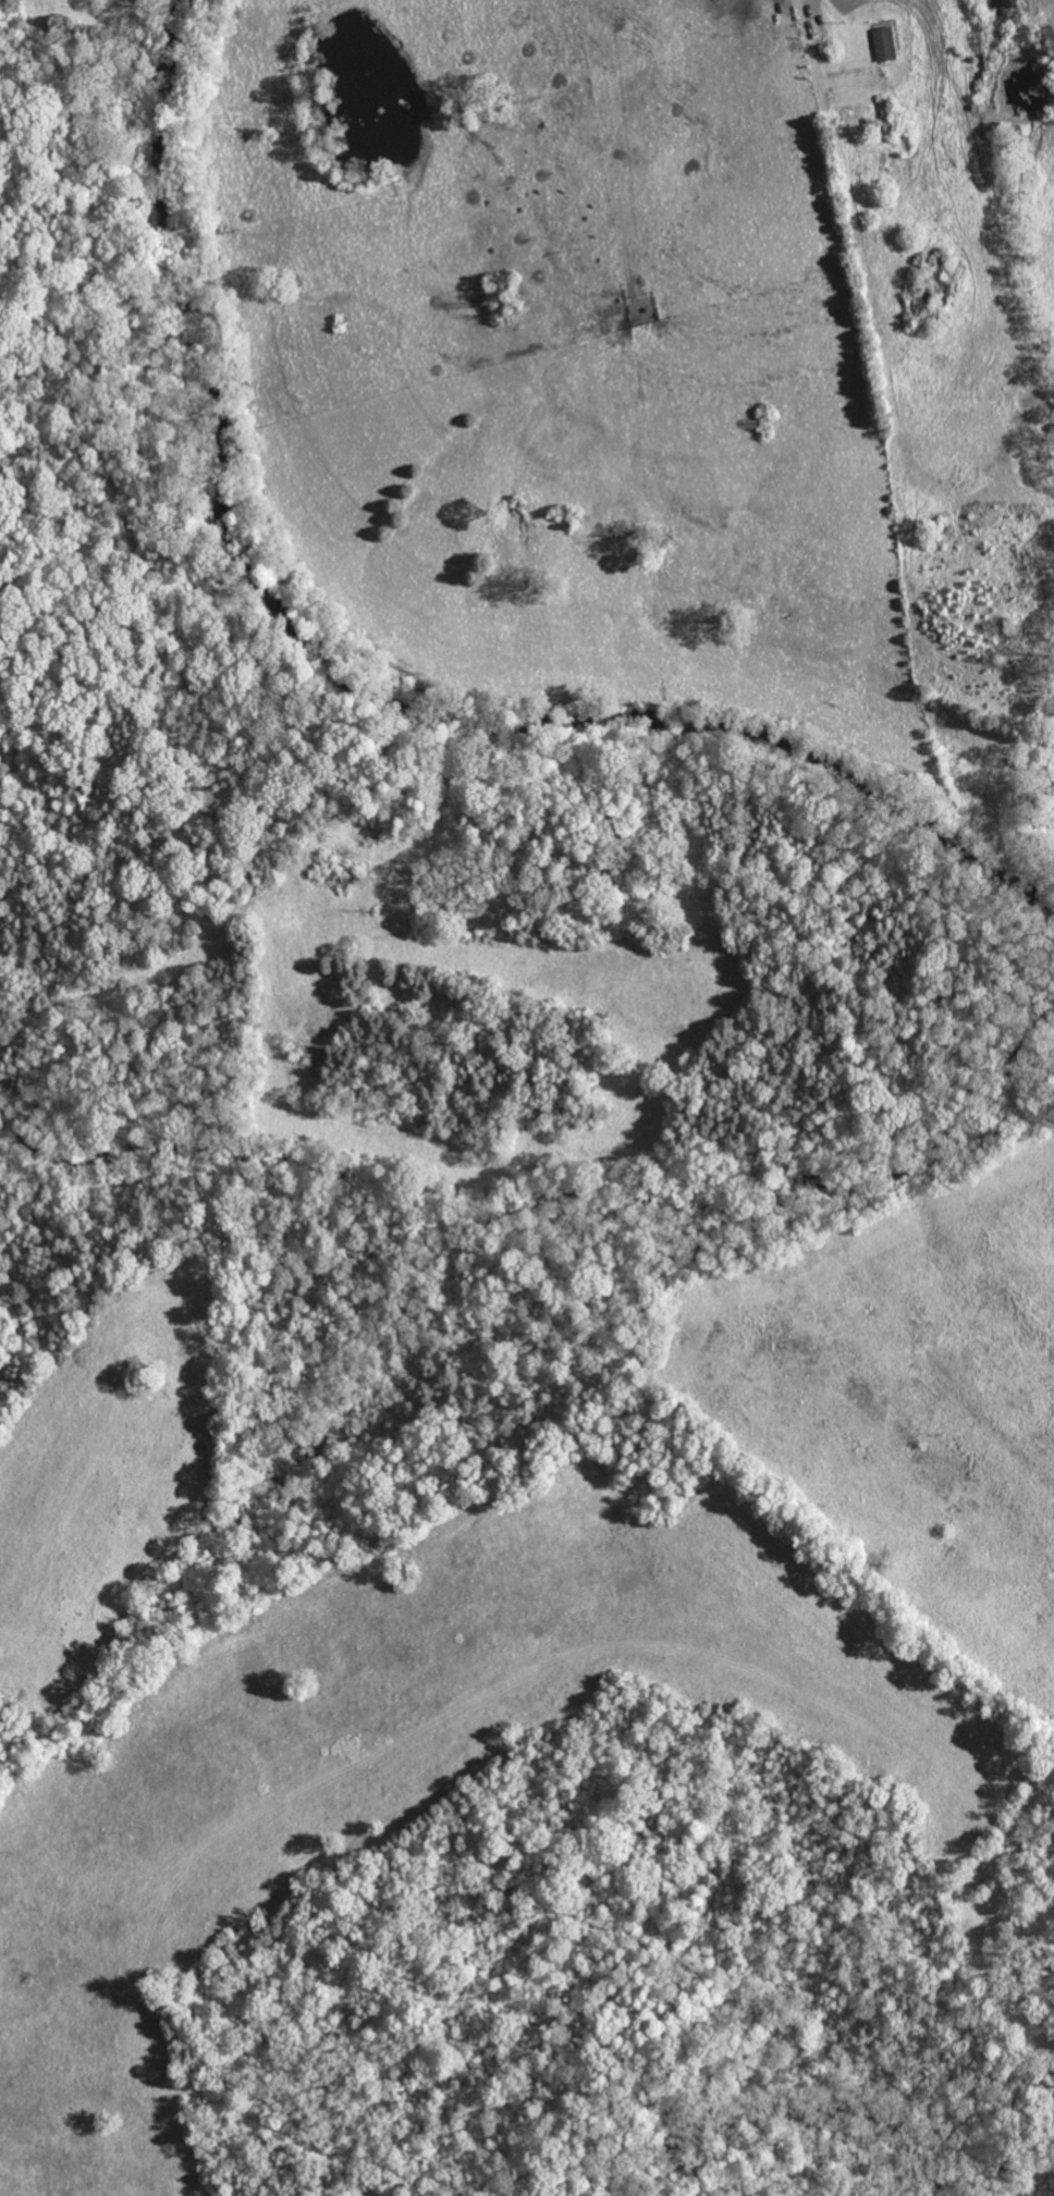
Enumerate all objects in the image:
road: (812, 3)
building: (884, 42)

